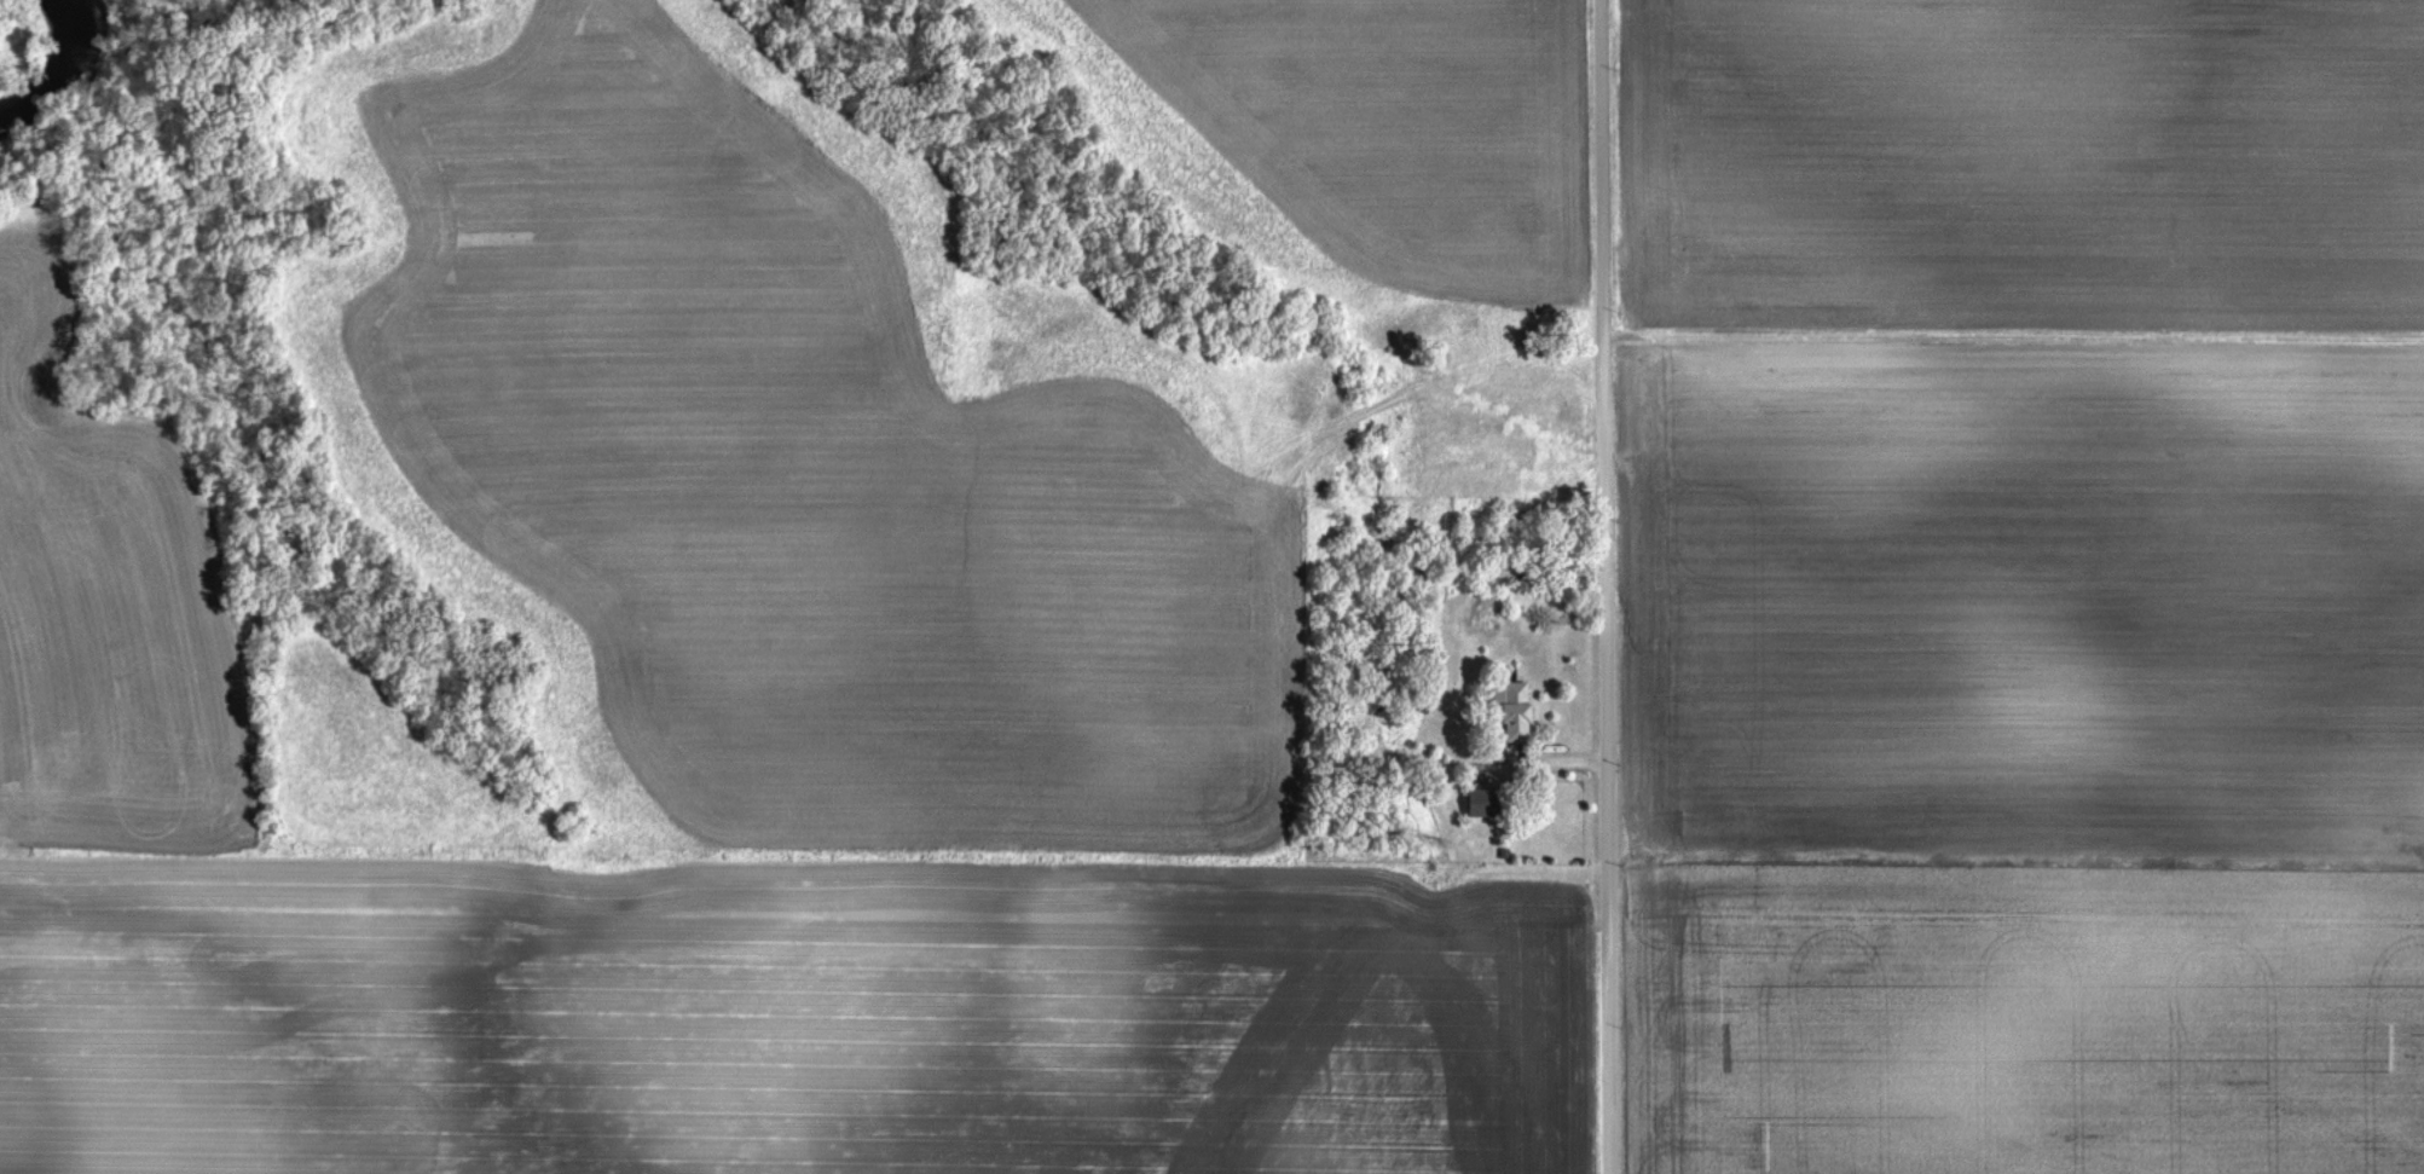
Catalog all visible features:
road: (1603, 586)
building: (1514, 710)
building: (1481, 804)

